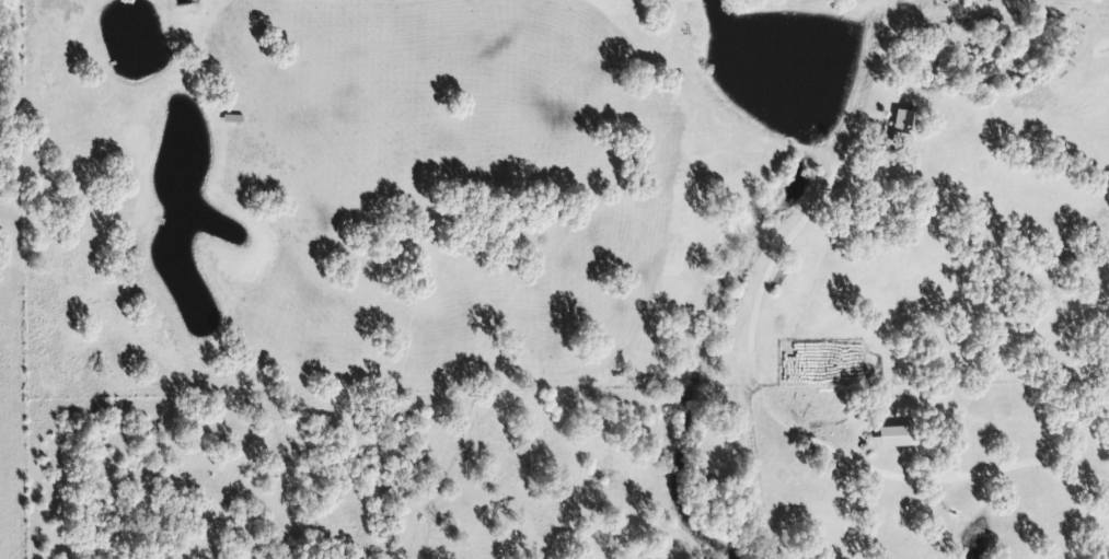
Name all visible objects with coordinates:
building: (900, 119)
building: (894, 142)
building: (1059, 254)

